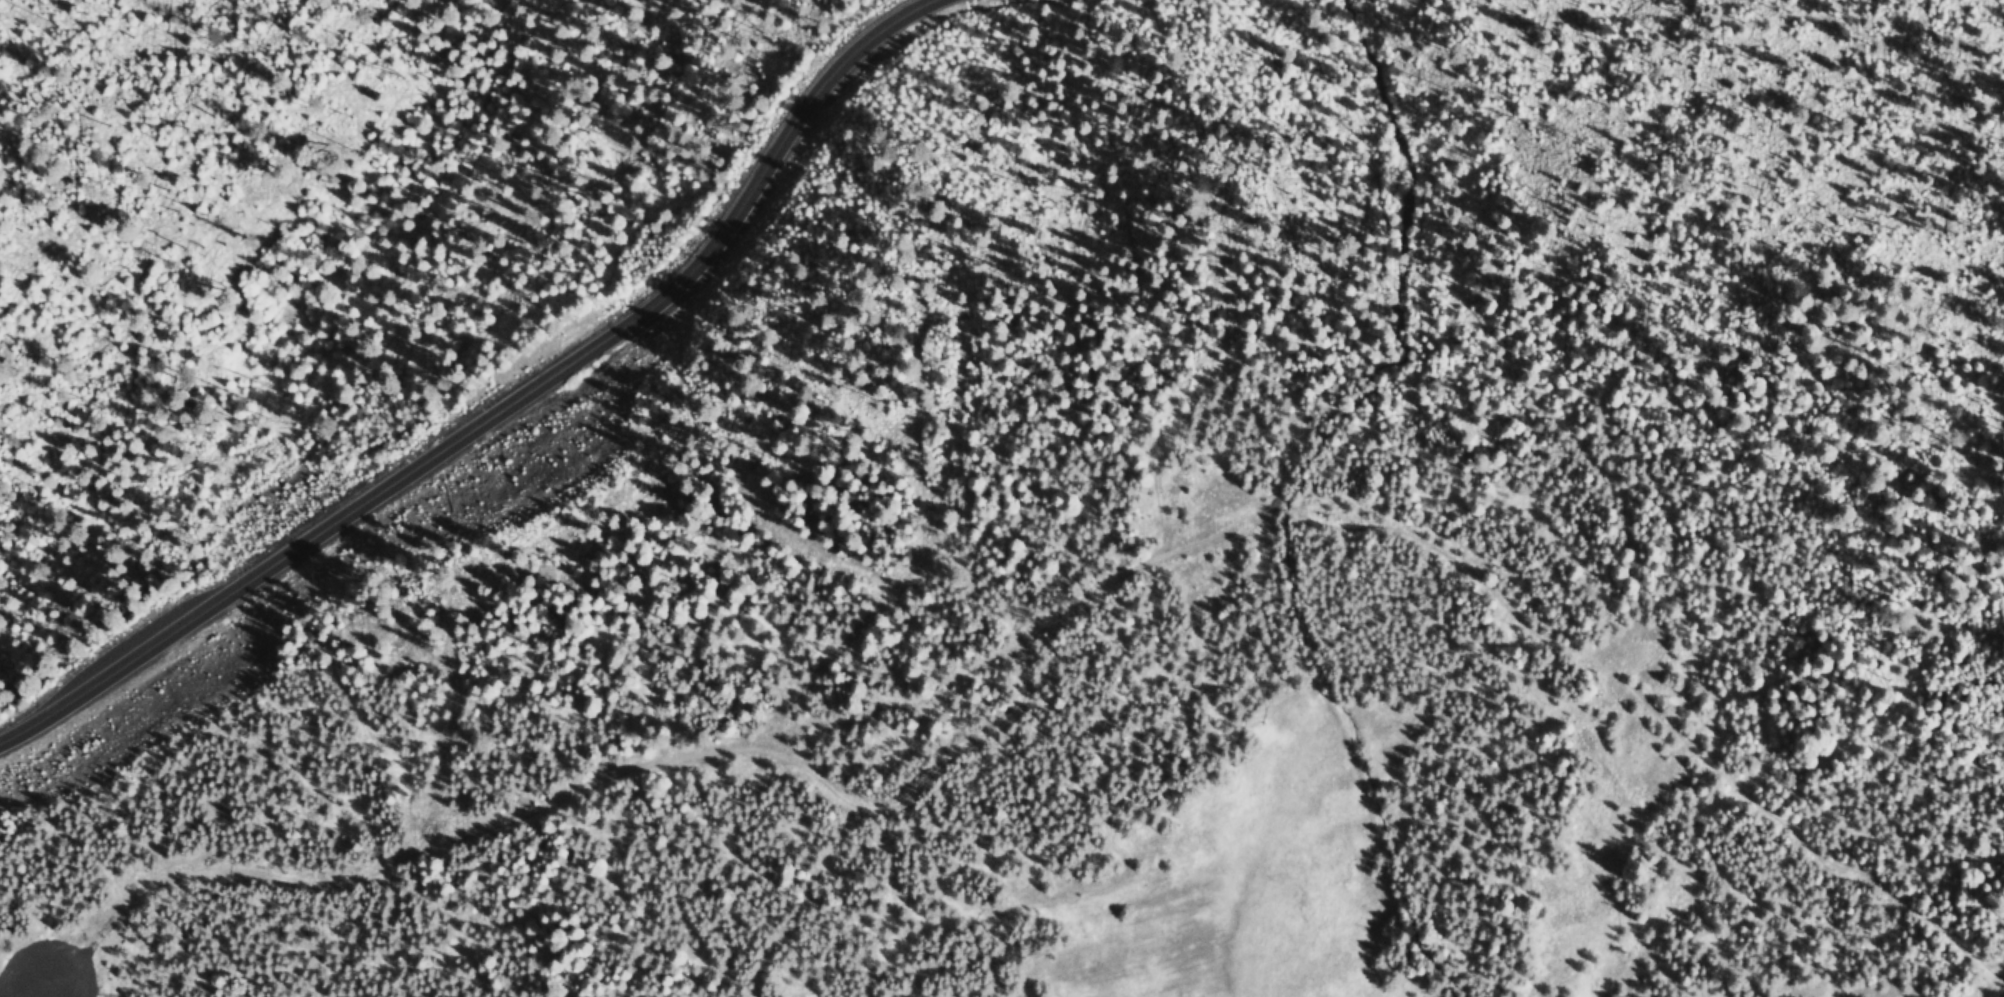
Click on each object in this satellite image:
road: (415, 120)
road: (503, 410)
road: (1282, 510)
road: (1662, 720)
road: (718, 755)
parking lot: (50, 972)
road: (54, 972)

